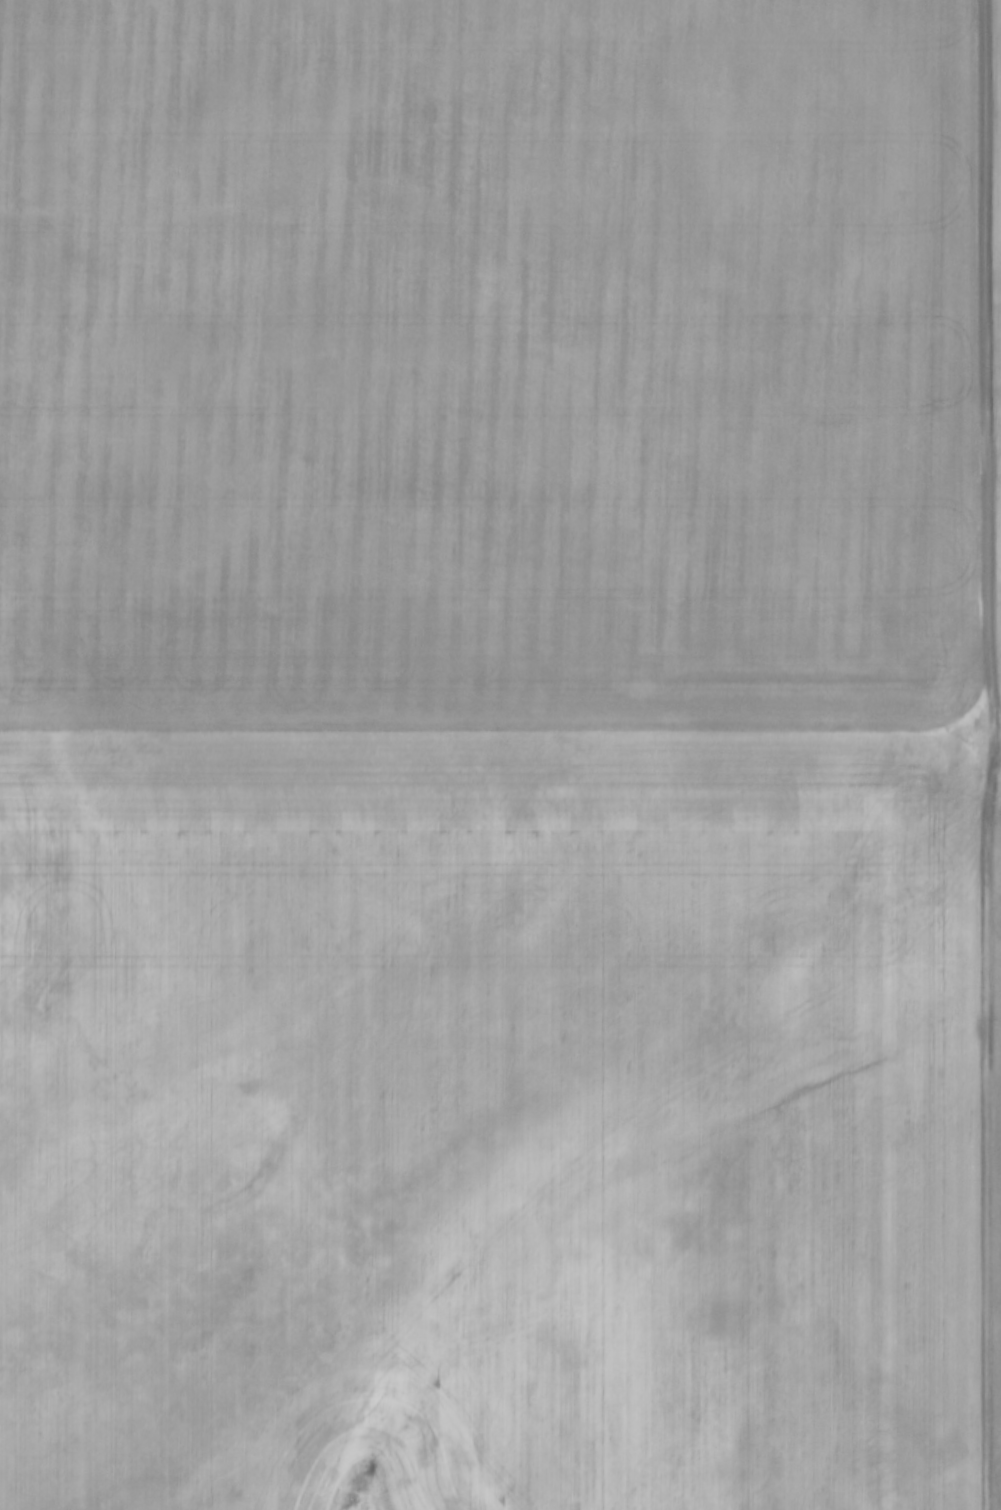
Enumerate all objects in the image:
road: (992, 755)

